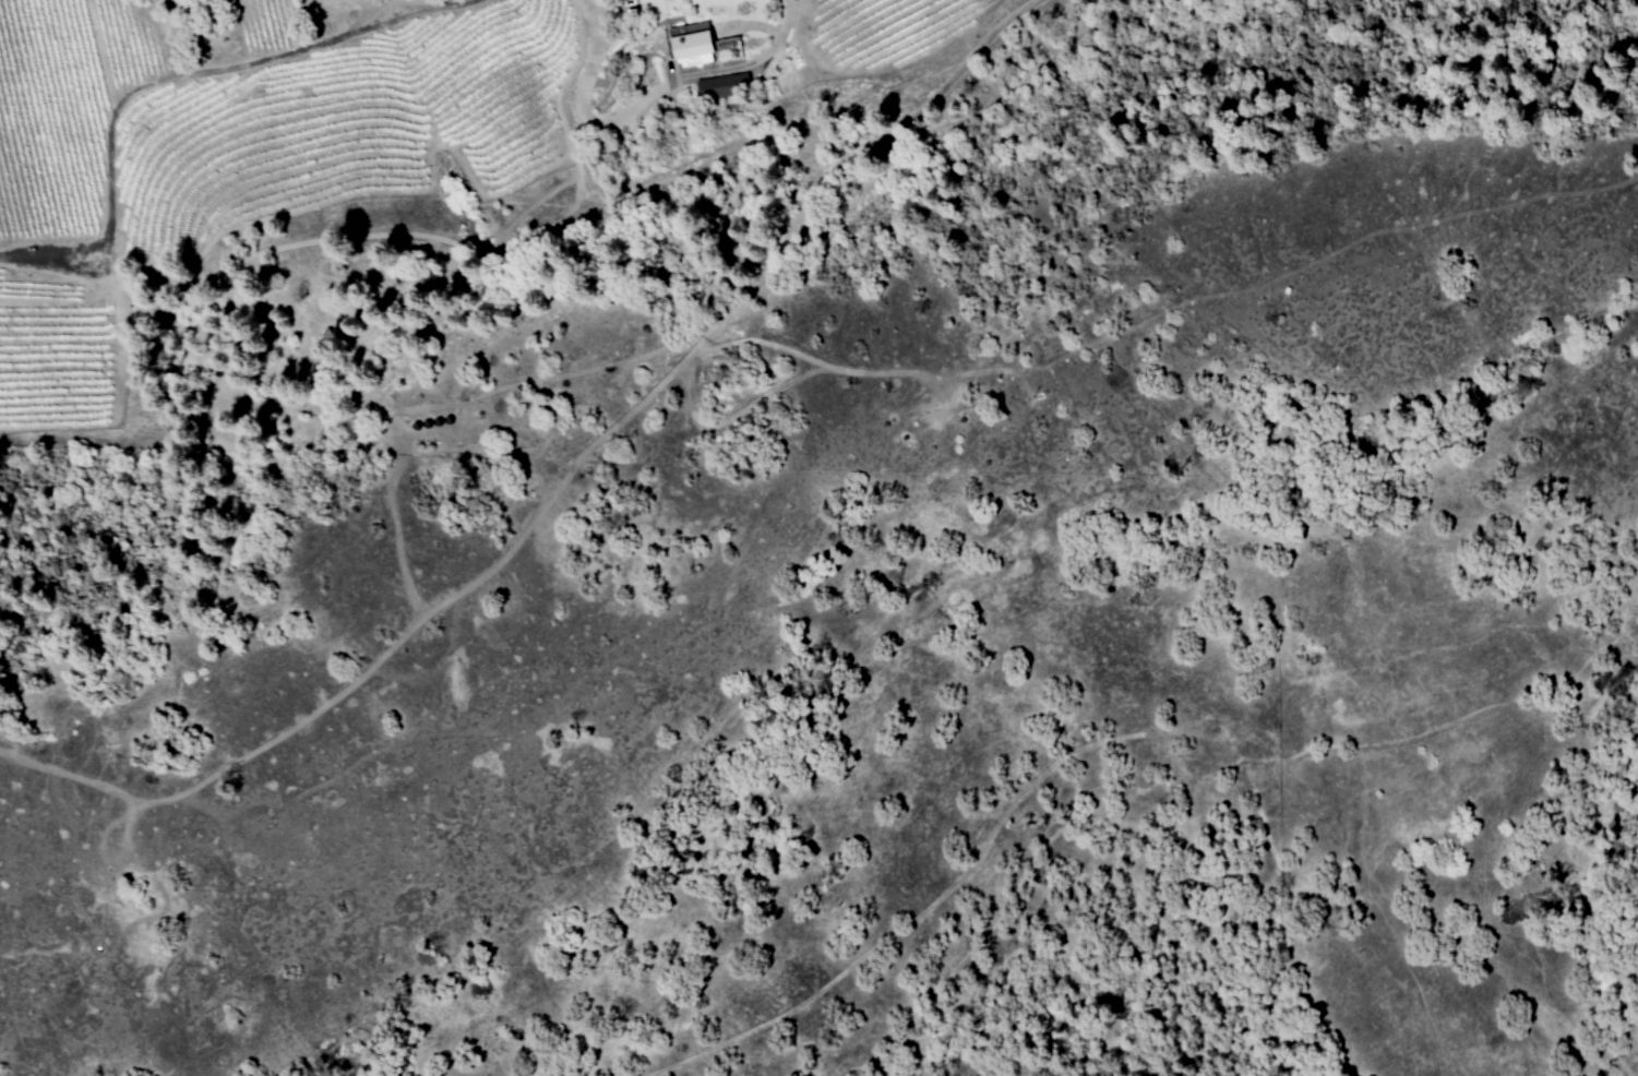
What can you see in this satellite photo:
building: (686, 46)
road: (98, 52)
road: (291, 52)
road: (589, 64)
road: (705, 73)
building: (724, 85)
road: (105, 224)

